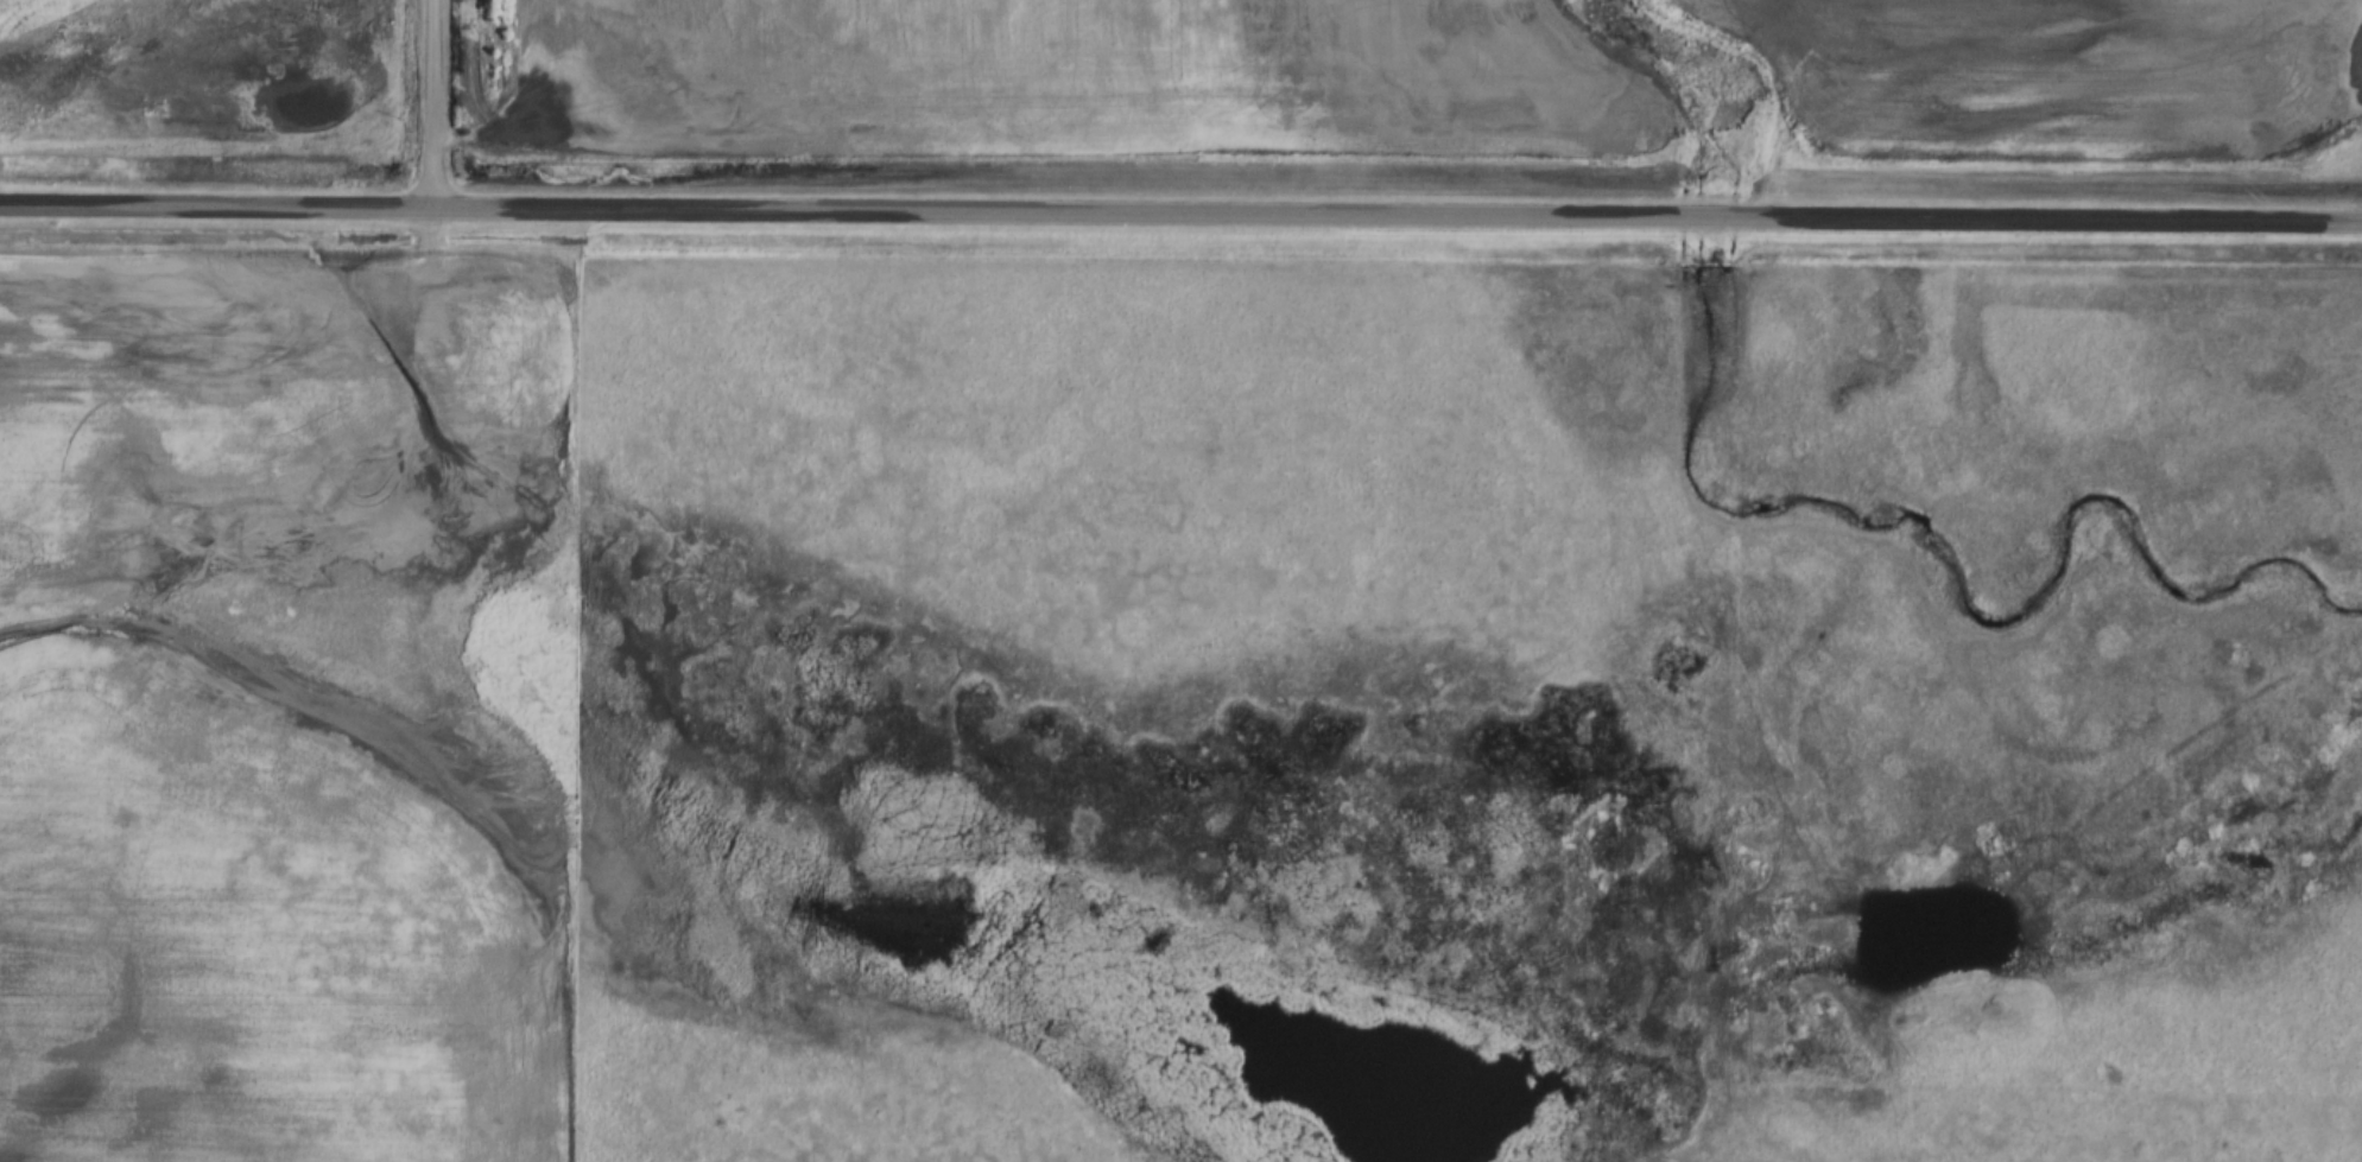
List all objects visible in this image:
road: (436, 103)
road: (1180, 209)

